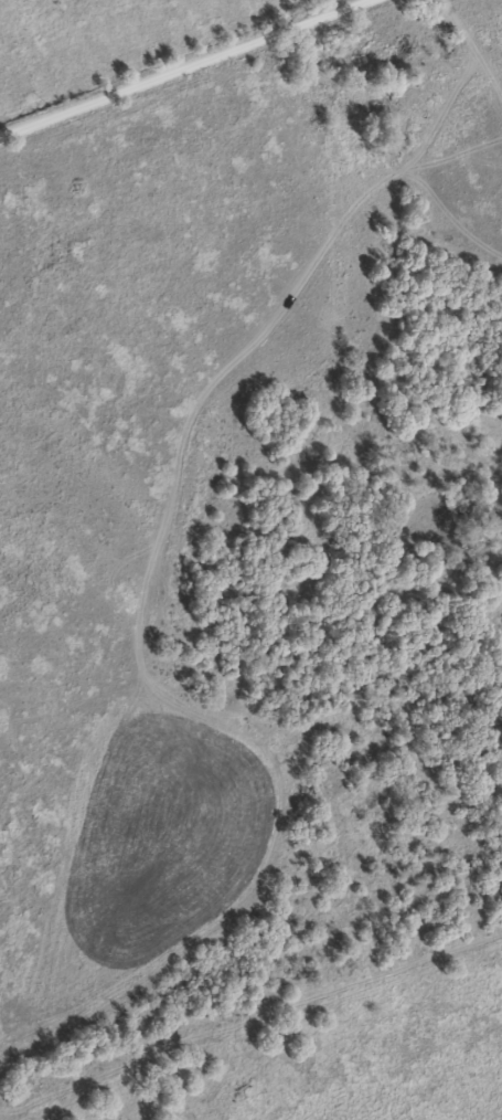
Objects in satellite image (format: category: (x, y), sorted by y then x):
road: (177, 65)
road: (373, 158)

